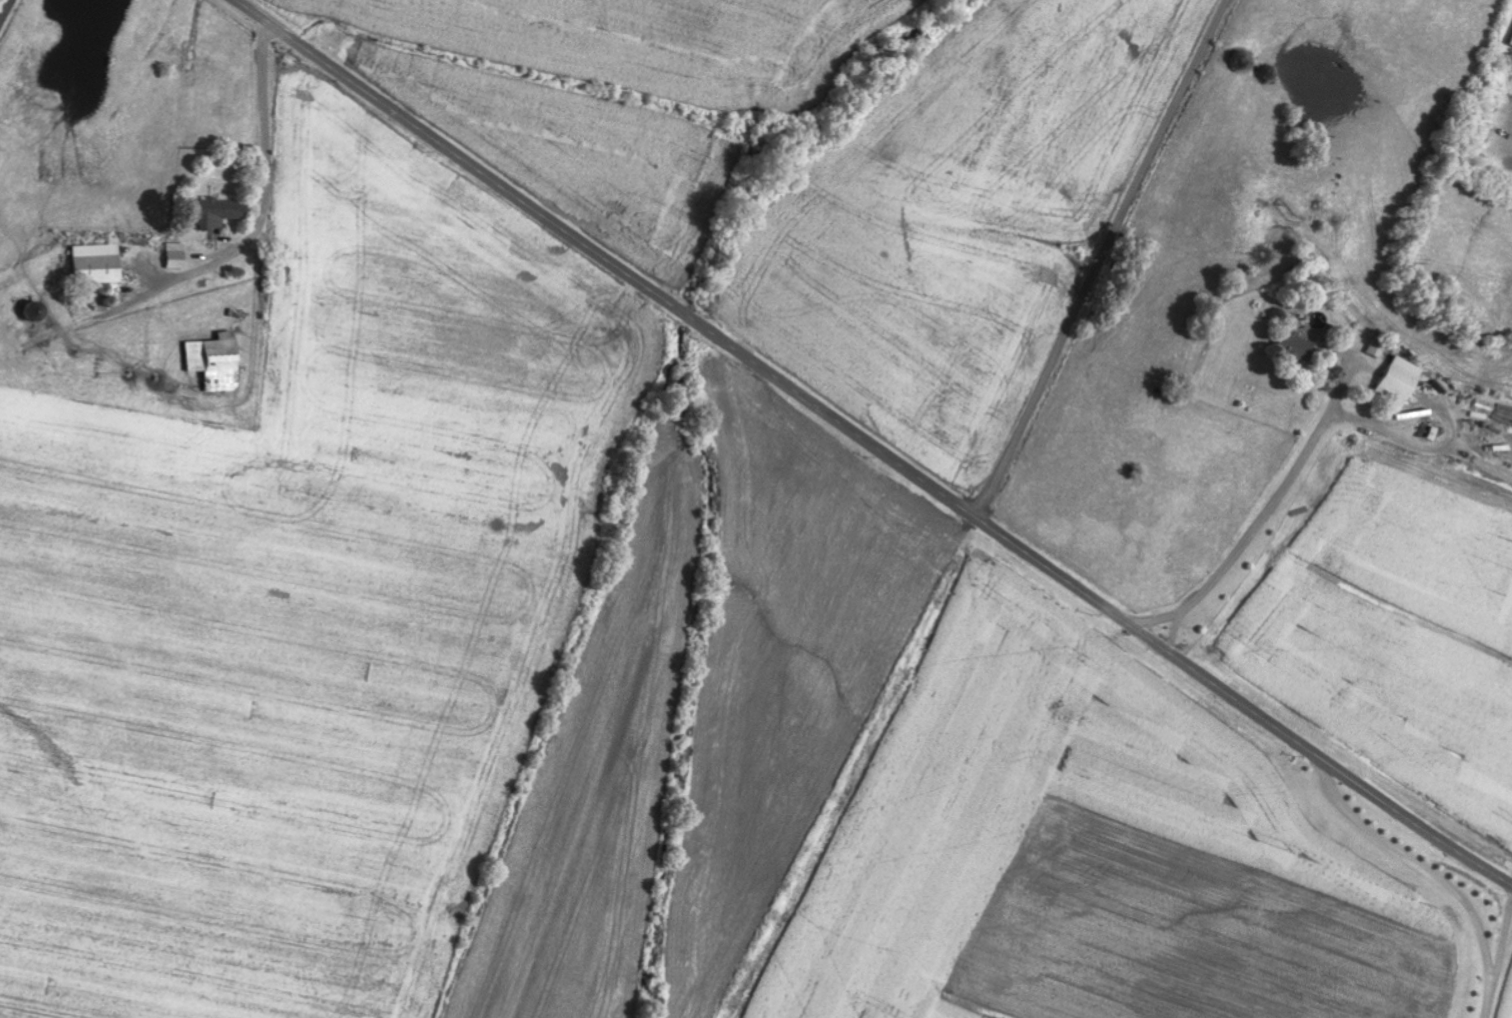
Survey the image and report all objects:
road: (6, 12)
building: (222, 213)
building: (178, 256)
road: (1104, 259)
building: (1299, 347)
building: (1378, 349)
building: (218, 362)
building: (1401, 382)
road: (872, 445)
road: (1361, 519)

